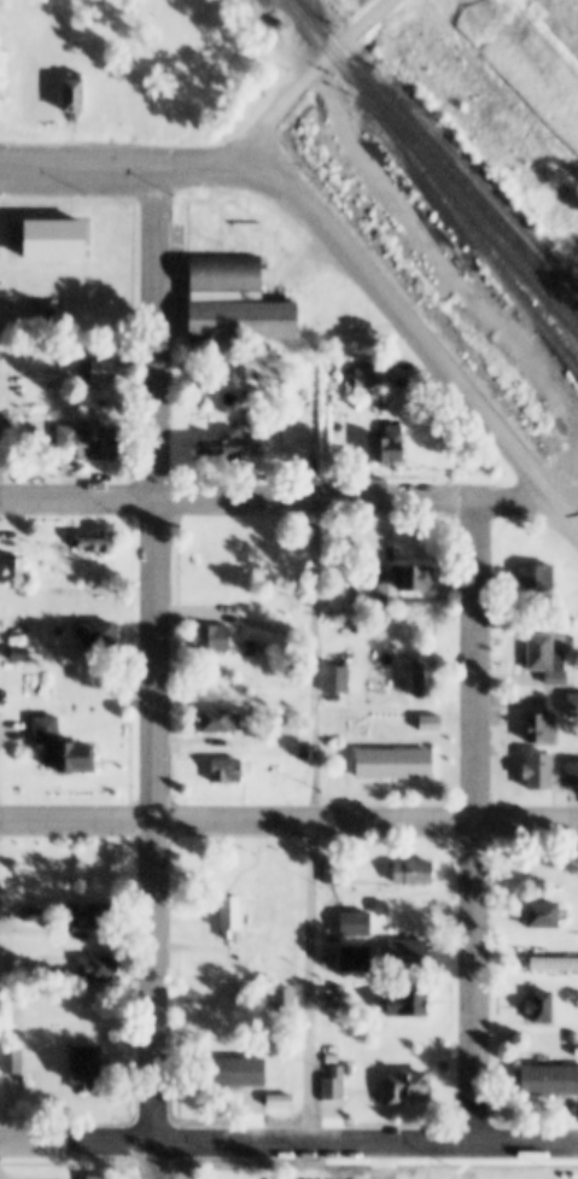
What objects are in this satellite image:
building: (98, 69)
road: (311, 71)
railway: (437, 156)
road: (123, 167)
railway: (428, 168)
road: (415, 232)
railway: (478, 243)
building: (227, 274)
building: (43, 316)
building: (244, 317)
road: (411, 331)
road: (0, 335)
building: (101, 373)
building: (367, 379)
building: (92, 443)
building: (299, 446)
building: (395, 446)
building: (230, 448)
road: (574, 497)
road: (285, 503)
building: (99, 543)
building: (418, 579)
building: (538, 583)
building: (218, 589)
building: (383, 595)
building: (100, 636)
building: (216, 640)
building: (21, 656)
building: (548, 660)
road: (163, 672)
building: (338, 678)
building: (430, 691)
building: (221, 722)
building: (545, 730)
building: (48, 731)
building: (77, 759)
building: (397, 765)
building: (226, 772)
building: (543, 774)
building: (573, 775)
road: (288, 822)
road: (480, 825)
building: (334, 872)
building: (415, 874)
building: (425, 912)
building: (35, 916)
building: (87, 916)
building: (232, 916)
building: (549, 917)
road: (7, 927)
building: (556, 965)
building: (11, 969)
building: (94, 969)
building: (286, 1002)
building: (414, 1006)
building: (545, 1008)
building: (14, 1063)
building: (89, 1068)
building: (239, 1074)
building: (553, 1081)
building: (335, 1085)
building: (413, 1088)
road: (288, 1146)

